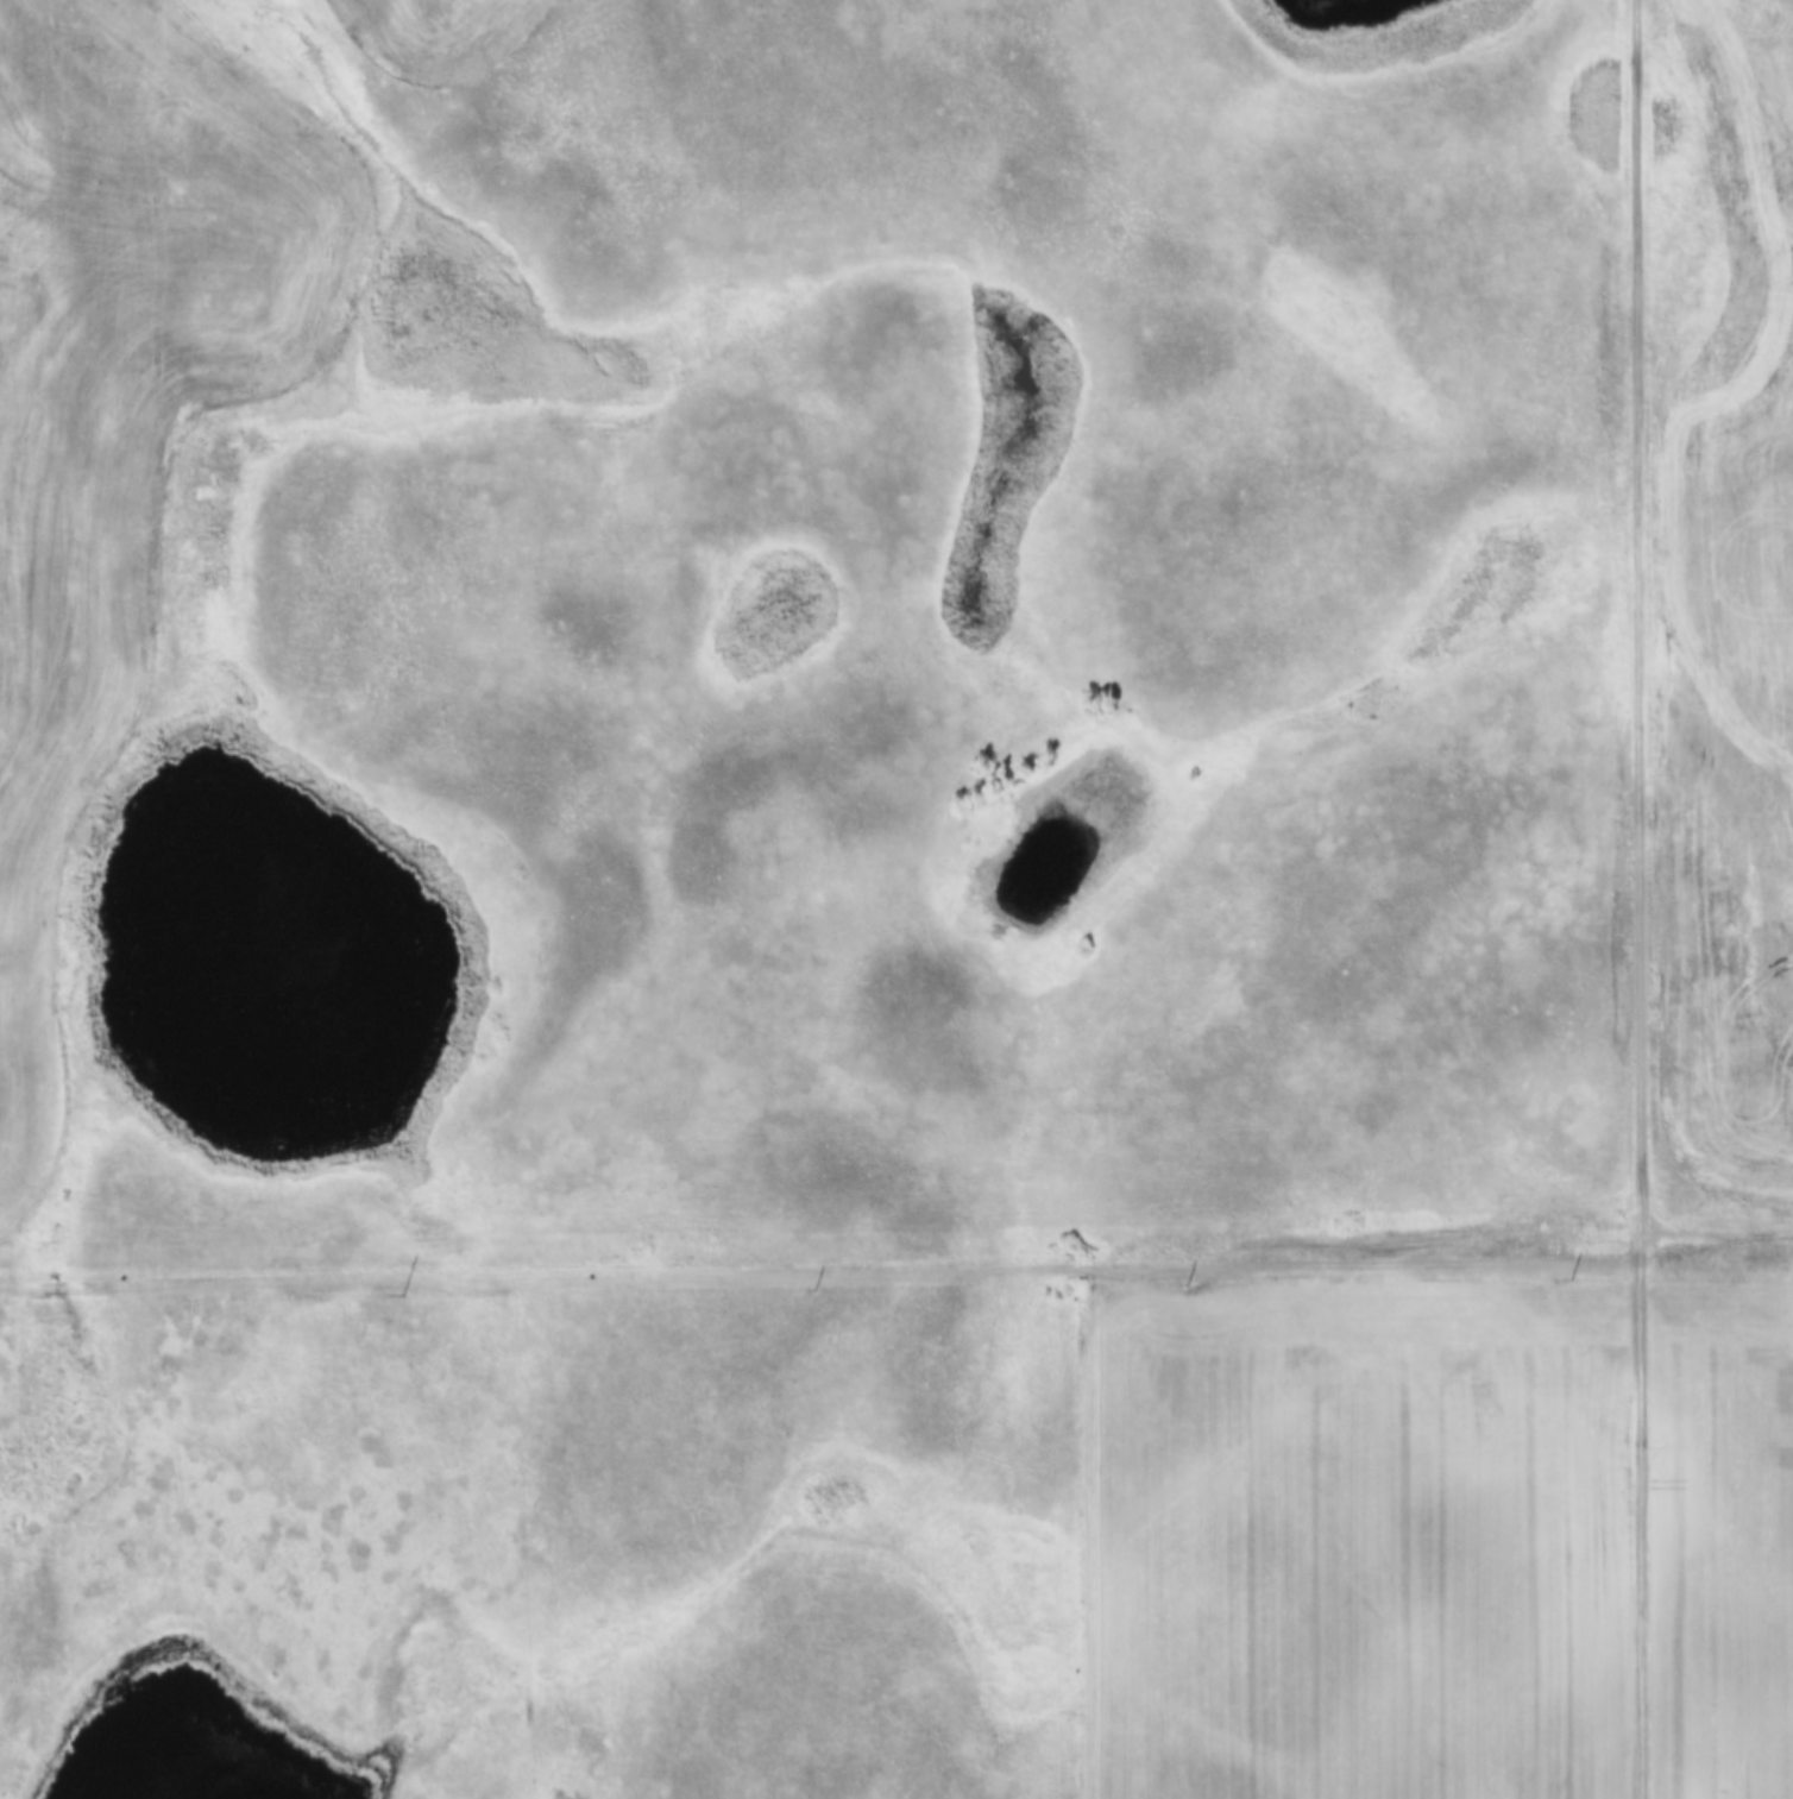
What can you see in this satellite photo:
road: (1641, 606)
road: (1723, 1228)
road: (1640, 1501)

